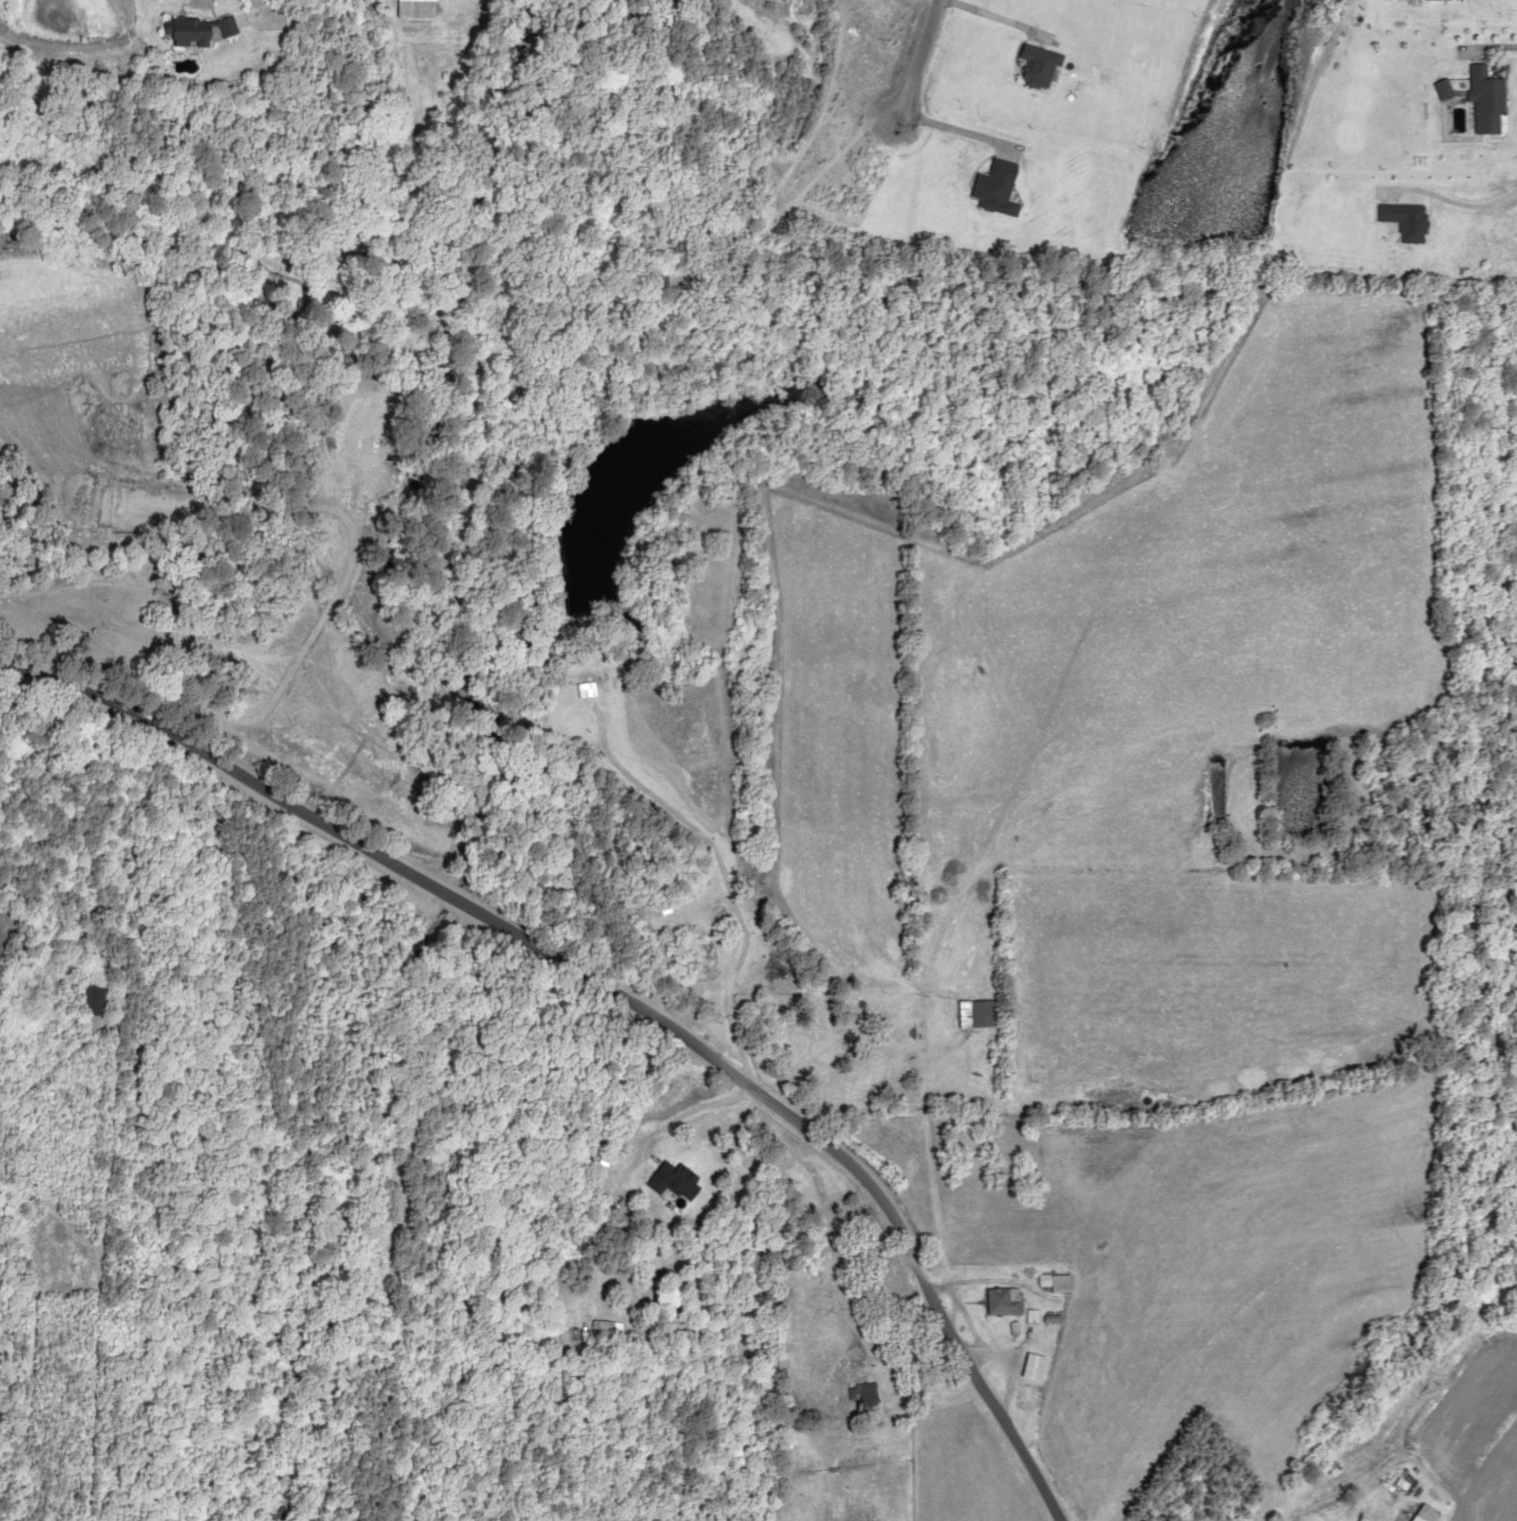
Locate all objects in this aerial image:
building: (407, 8)
building: (217, 26)
building: (179, 32)
building: (1441, 88)
building: (1482, 100)
building: (584, 682)
road: (593, 990)
building: (85, 997)
building: (967, 1012)
building: (666, 1178)
building: (1049, 1282)
building: (997, 1300)
building: (594, 1328)
building: (858, 1400)
building: (1418, 1514)

